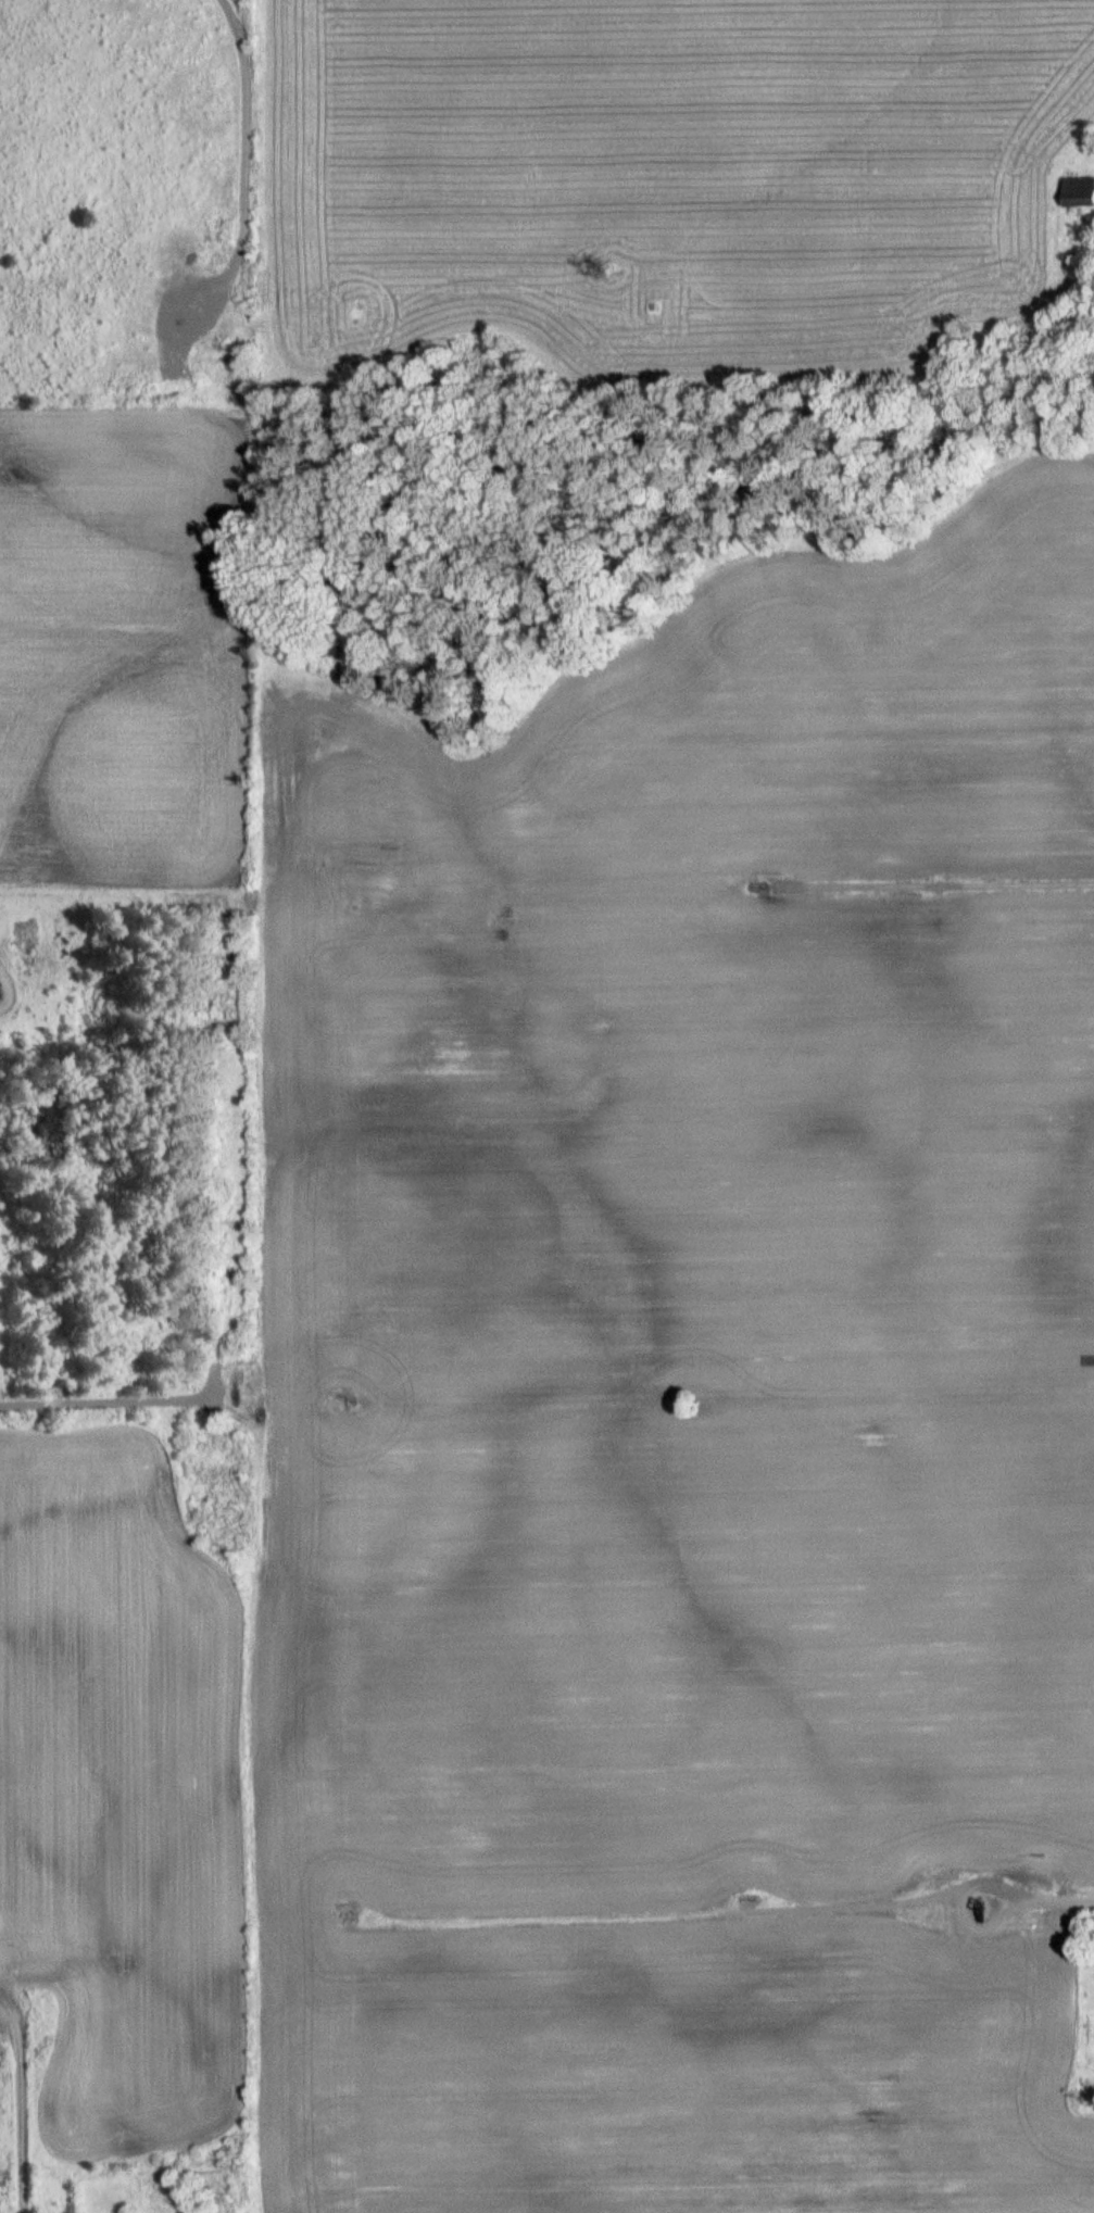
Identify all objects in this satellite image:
building: (1080, 186)
petroleum well: (974, 1903)
road: (18, 2115)

